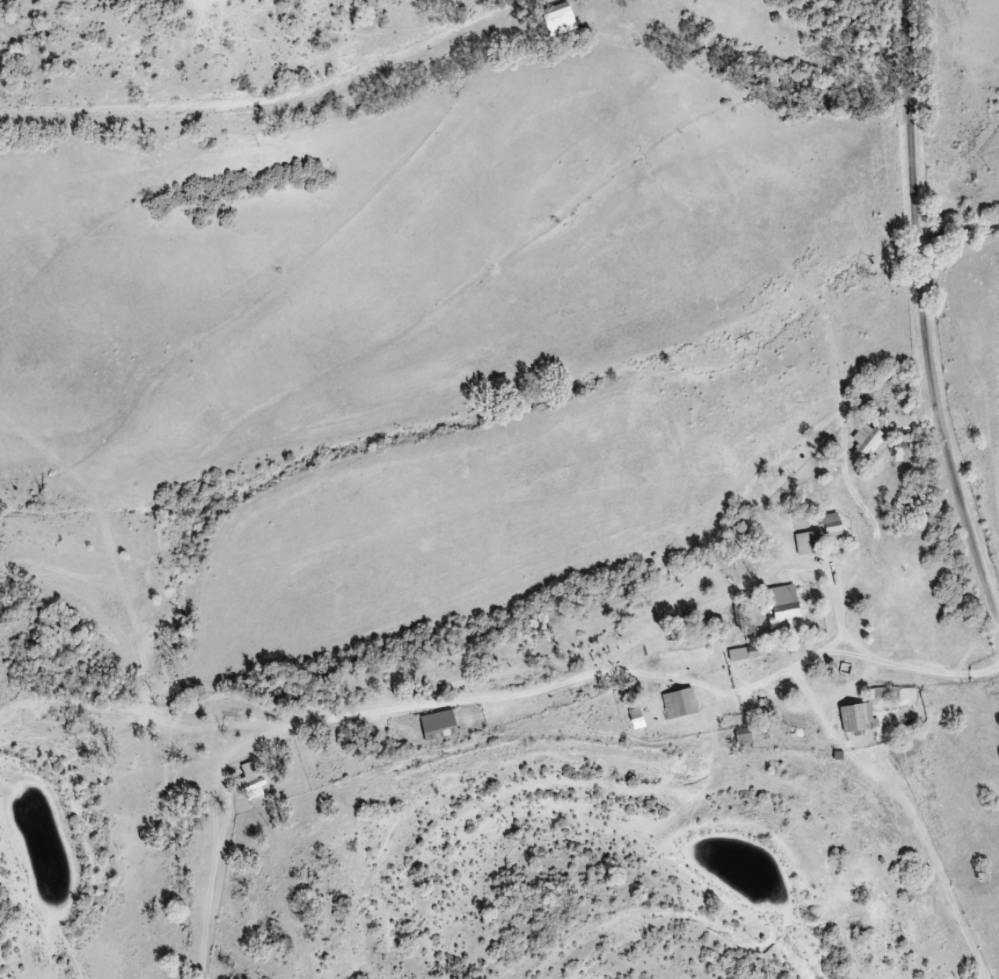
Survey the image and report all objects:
building: (556, 10)
road: (263, 96)
road: (809, 110)
road: (922, 315)
building: (863, 442)
building: (828, 527)
building: (807, 544)
building: (781, 608)
road: (521, 654)
building: (745, 654)
building: (680, 704)
building: (637, 719)
building: (856, 719)
building: (438, 726)
building: (743, 734)
building: (251, 786)
road: (887, 859)

